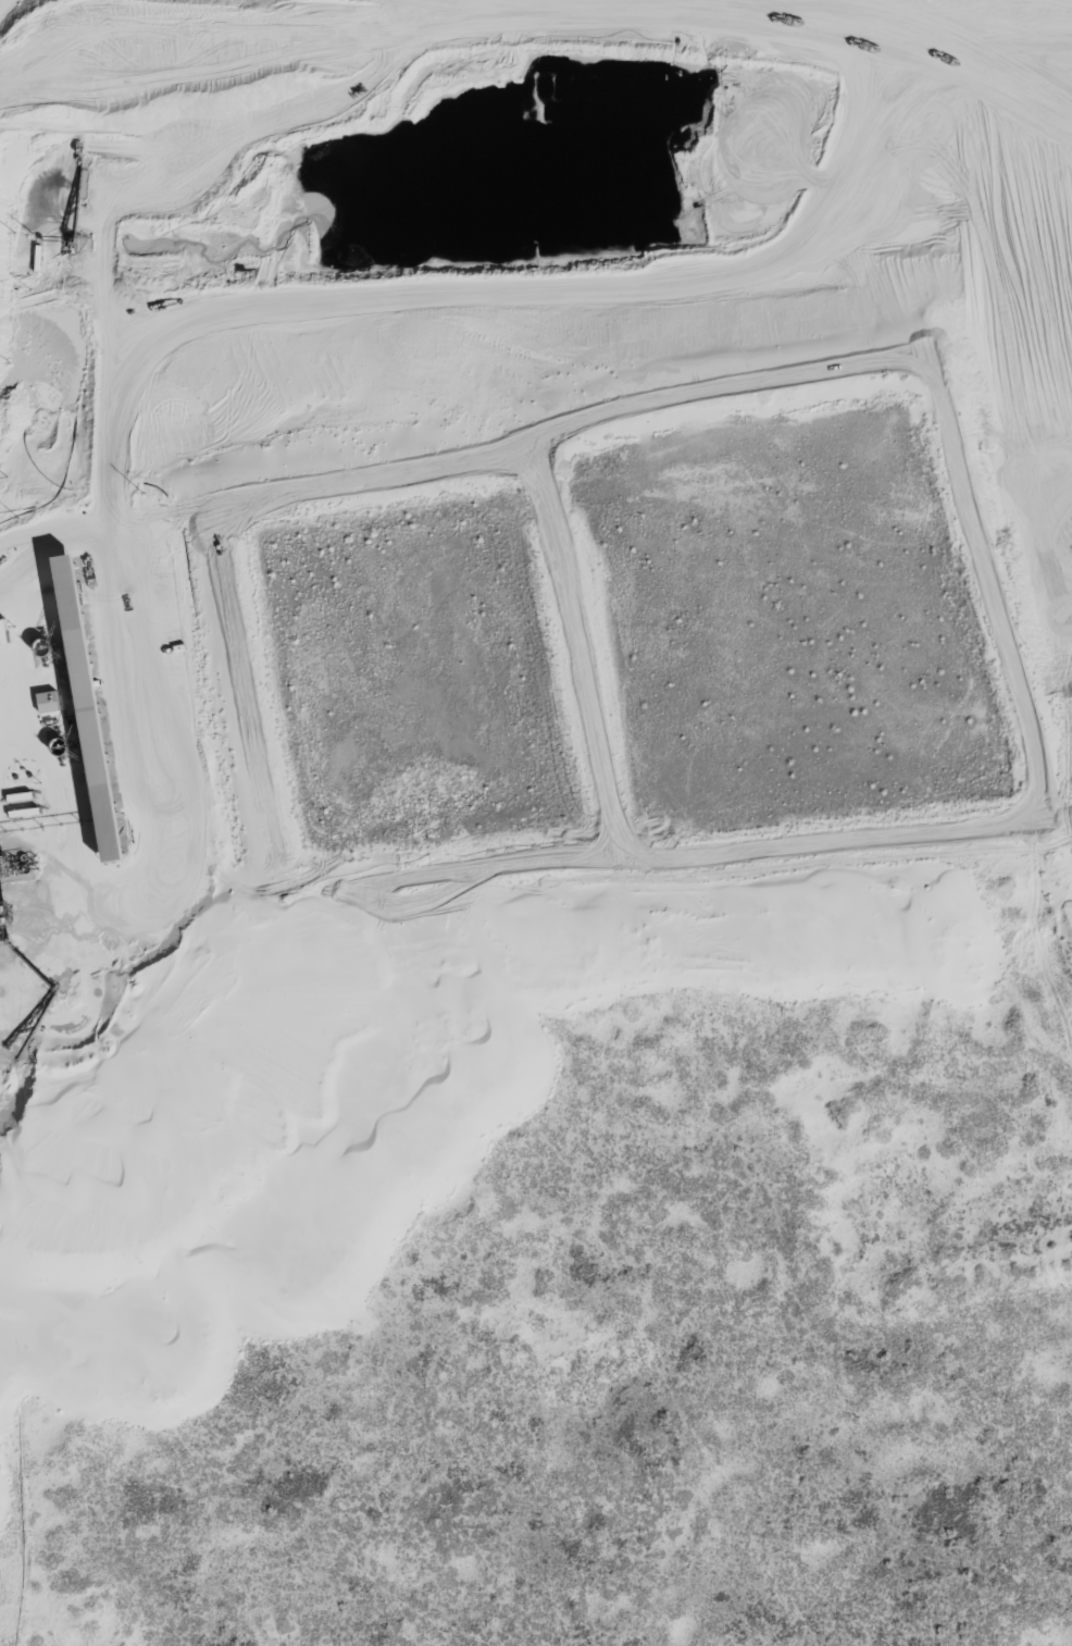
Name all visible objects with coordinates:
quarry: (431, 644)
building: (101, 709)

